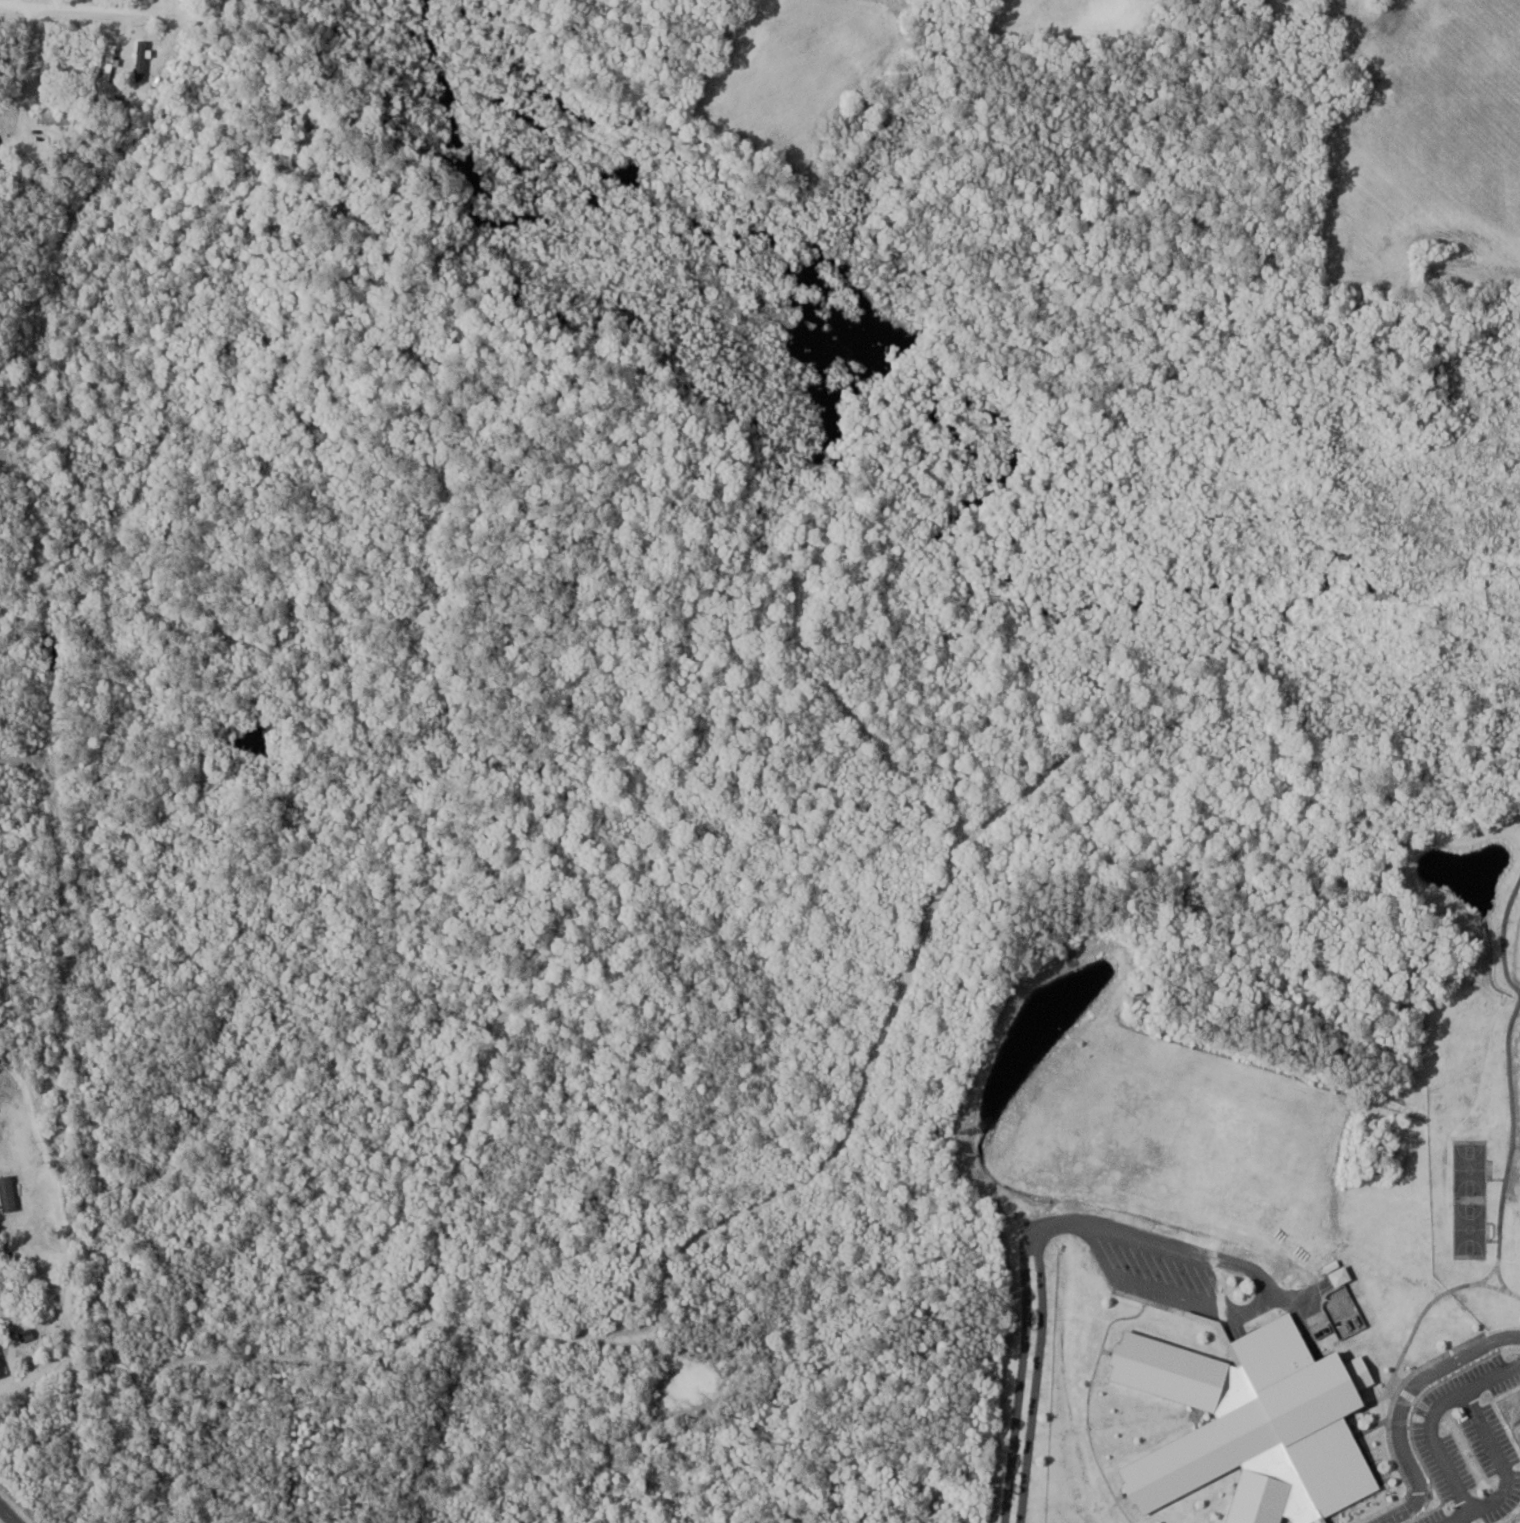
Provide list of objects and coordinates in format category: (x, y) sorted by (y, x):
road: (106, 9)
building: (147, 65)
road: (27, 74)
building: (0, 142)
park: (1515, 946)
building: (9, 1193)
road: (1059, 1220)
road: (74, 1284)
road: (1252, 1304)
building: (1, 1361)
road: (1030, 1371)
road: (1015, 1375)
parking lot: (1458, 1382)
parking lot: (1506, 1385)
building: (1256, 1426)
road: (1436, 1442)
road: (1490, 1443)
parking lot: (1467, 1450)
parking lot: (1515, 1493)
building: (942, 1496)
road: (9, 1513)
parking lot: (1436, 1517)

